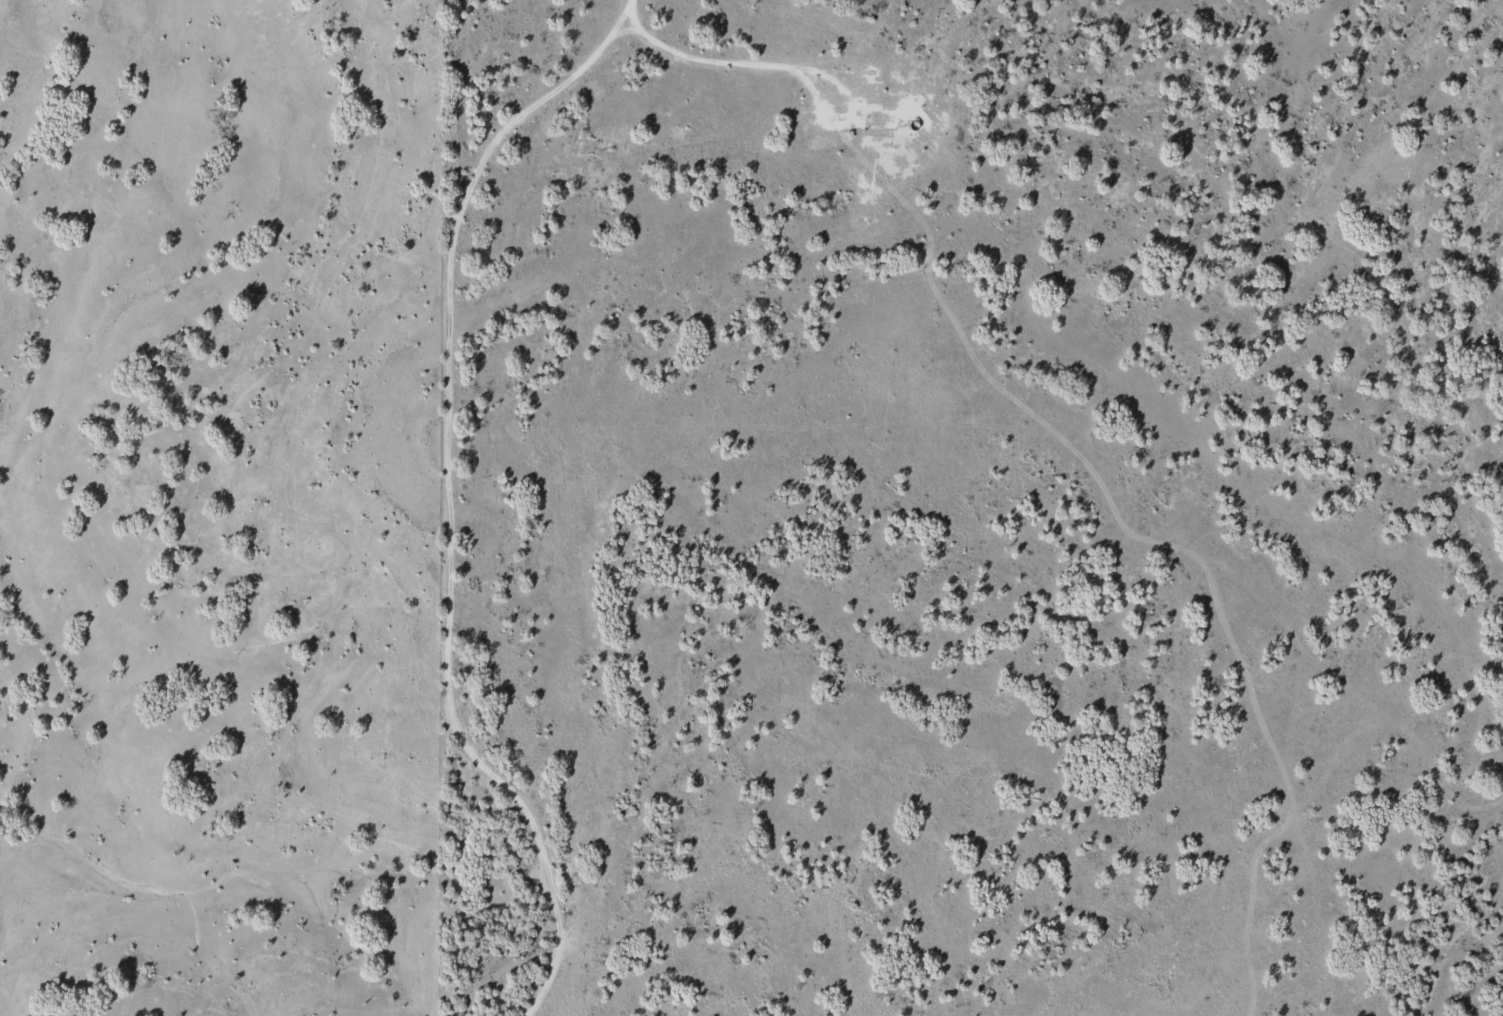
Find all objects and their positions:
road: (719, 61)
road: (448, 498)

